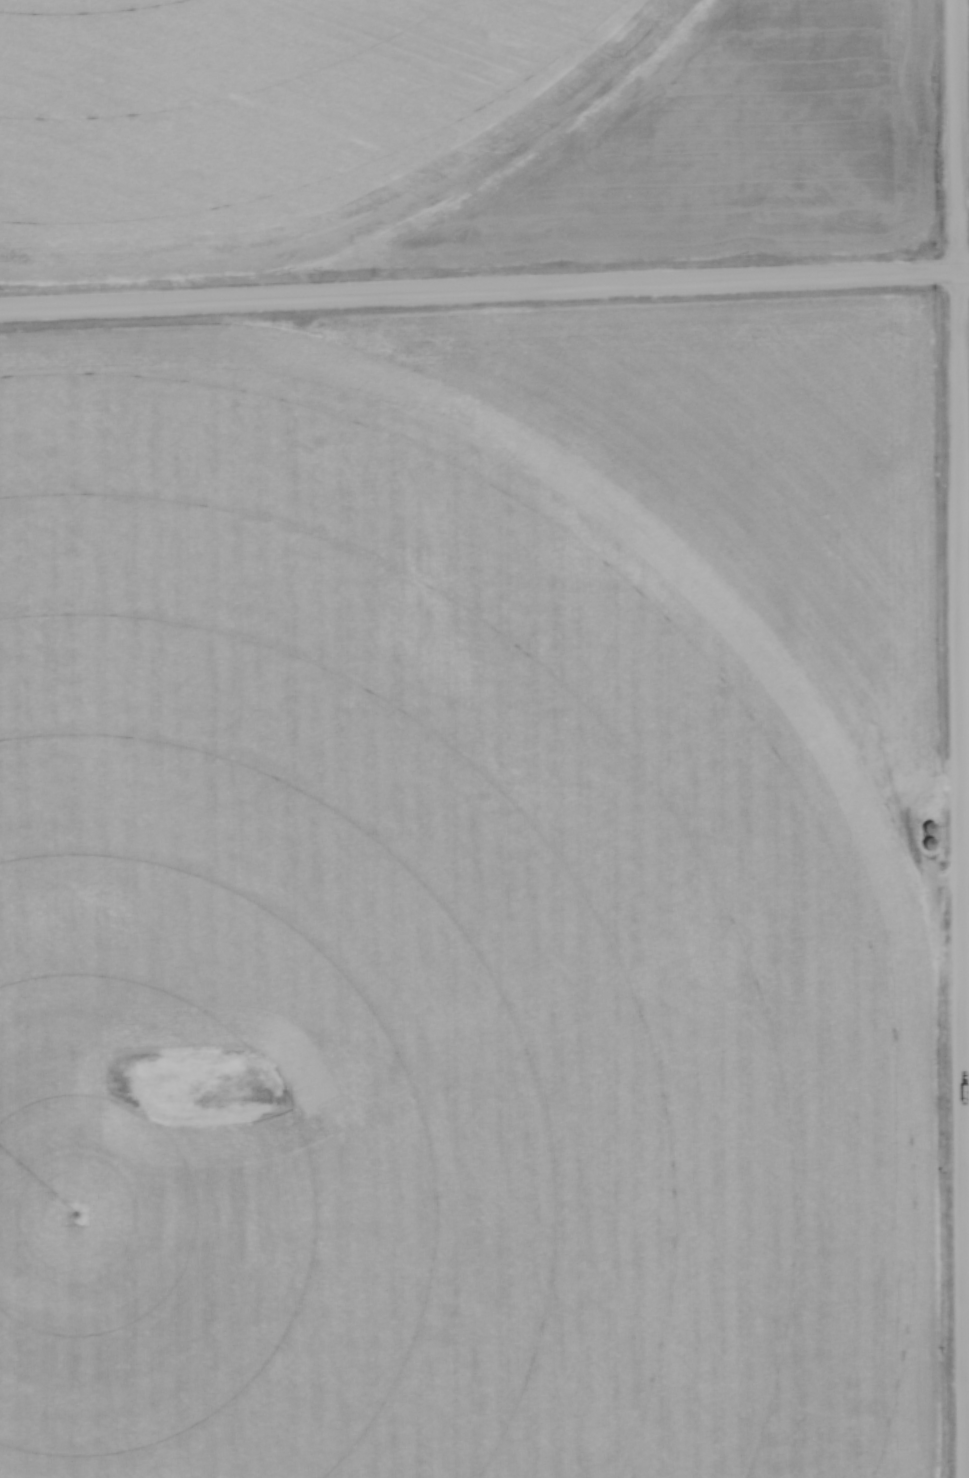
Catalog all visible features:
road: (484, 291)
road: (958, 739)

